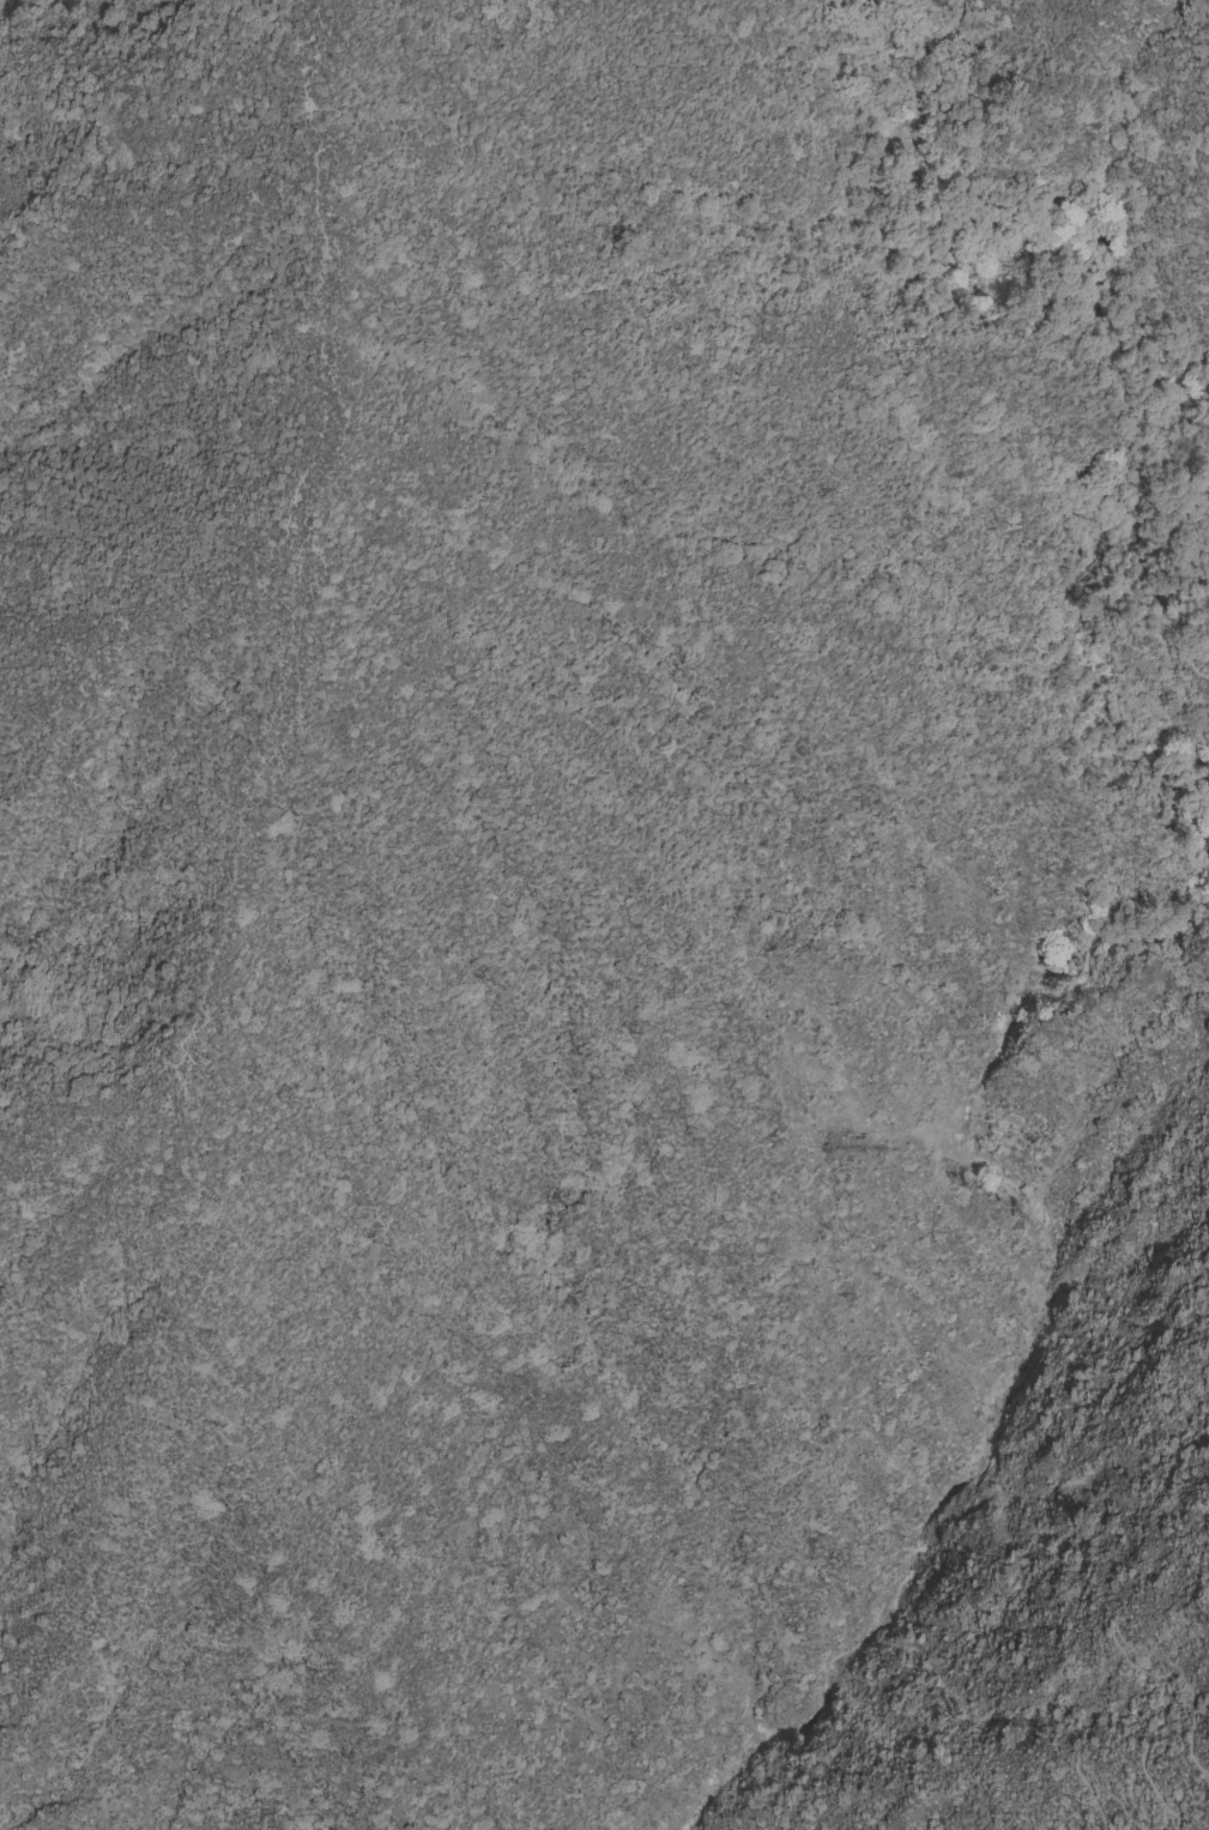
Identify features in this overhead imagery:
road: (1177, 633)
road: (1199, 672)
road: (1114, 1649)
road: (1083, 1774)

